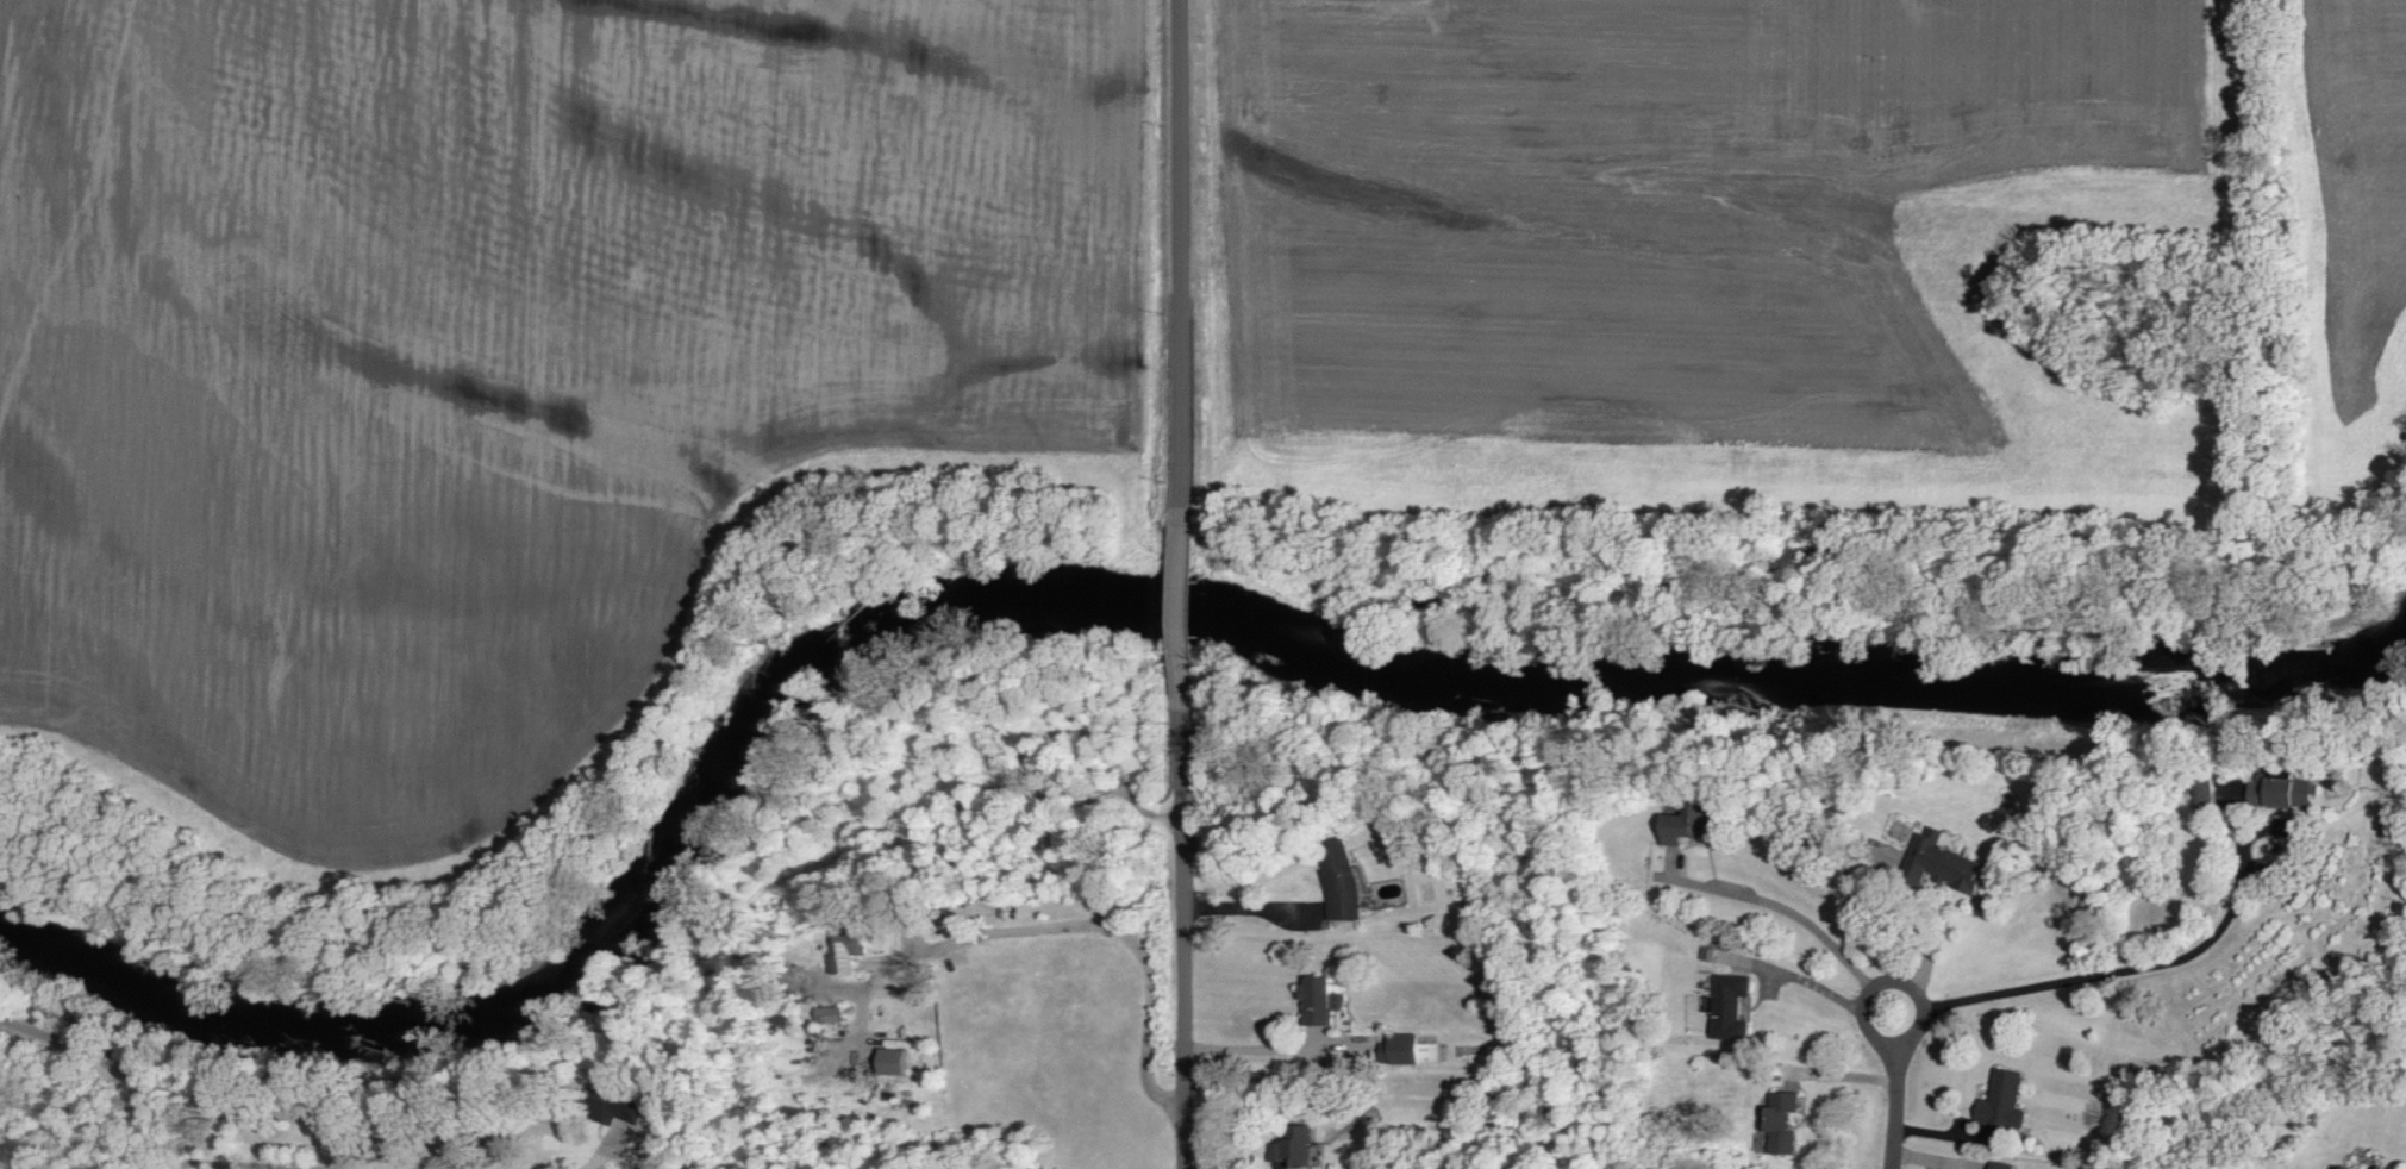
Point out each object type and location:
road: (1180, 251)
river: (1114, 579)
road: (1181, 607)
building: (2285, 792)
building: (1685, 823)
building: (1942, 861)
building: (1339, 879)
road: (1249, 908)
road: (1794, 911)
road: (1112, 932)
building: (850, 940)
road: (1182, 940)
road: (2105, 977)
building: (1323, 999)
building: (1730, 1007)
building: (829, 1014)
road: (33, 1025)
building: (1412, 1046)
road: (1268, 1049)
building: (892, 1062)
road: (142, 1082)
road: (1895, 1088)
building: (2004, 1100)
building: (611, 1105)
building: (1781, 1121)
building: (1295, 1140)
road: (590, 1159)
road: (257, 1161)
building: (2001, 1165)
building: (2349, 1168)
building: (2381, 1168)

